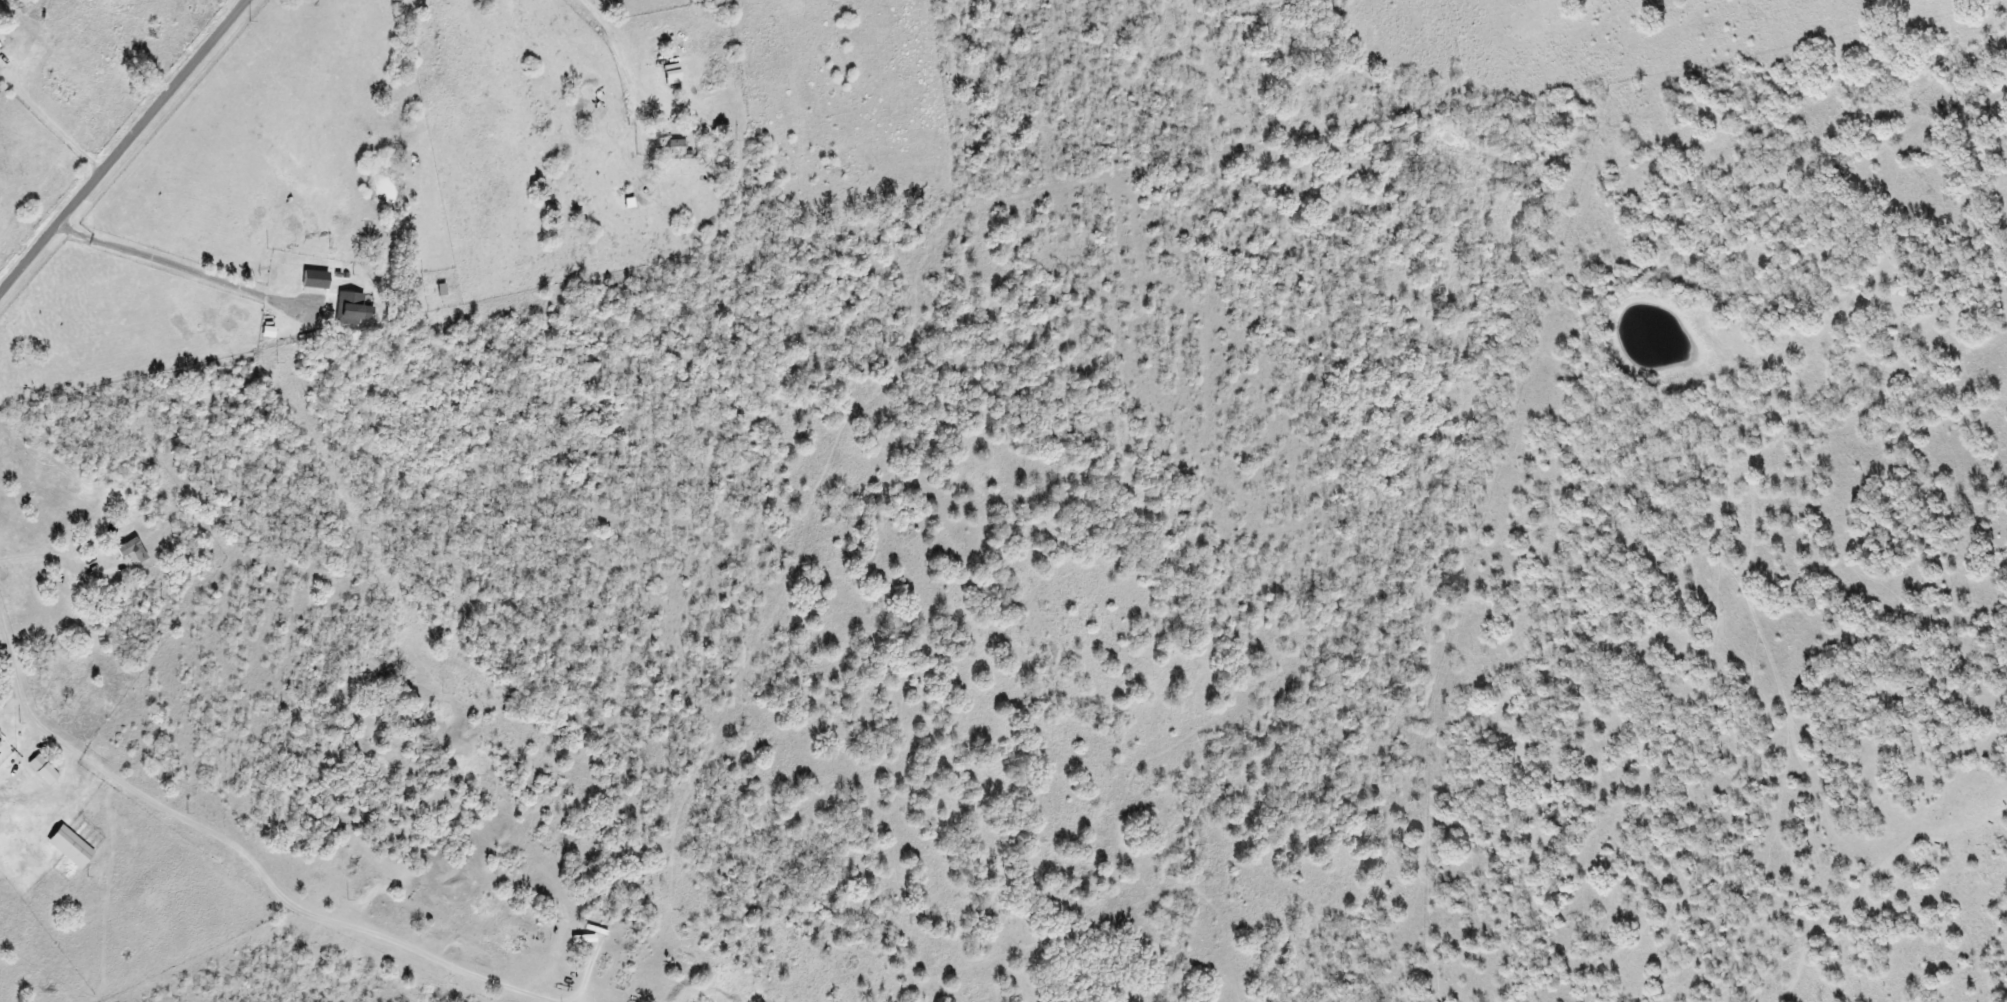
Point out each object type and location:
building: (667, 74)
road: (124, 147)
building: (669, 148)
road: (669, 157)
building: (310, 280)
building: (345, 309)
building: (364, 313)
building: (128, 552)
building: (38, 770)
road: (165, 777)
building: (65, 847)
road: (145, 915)

